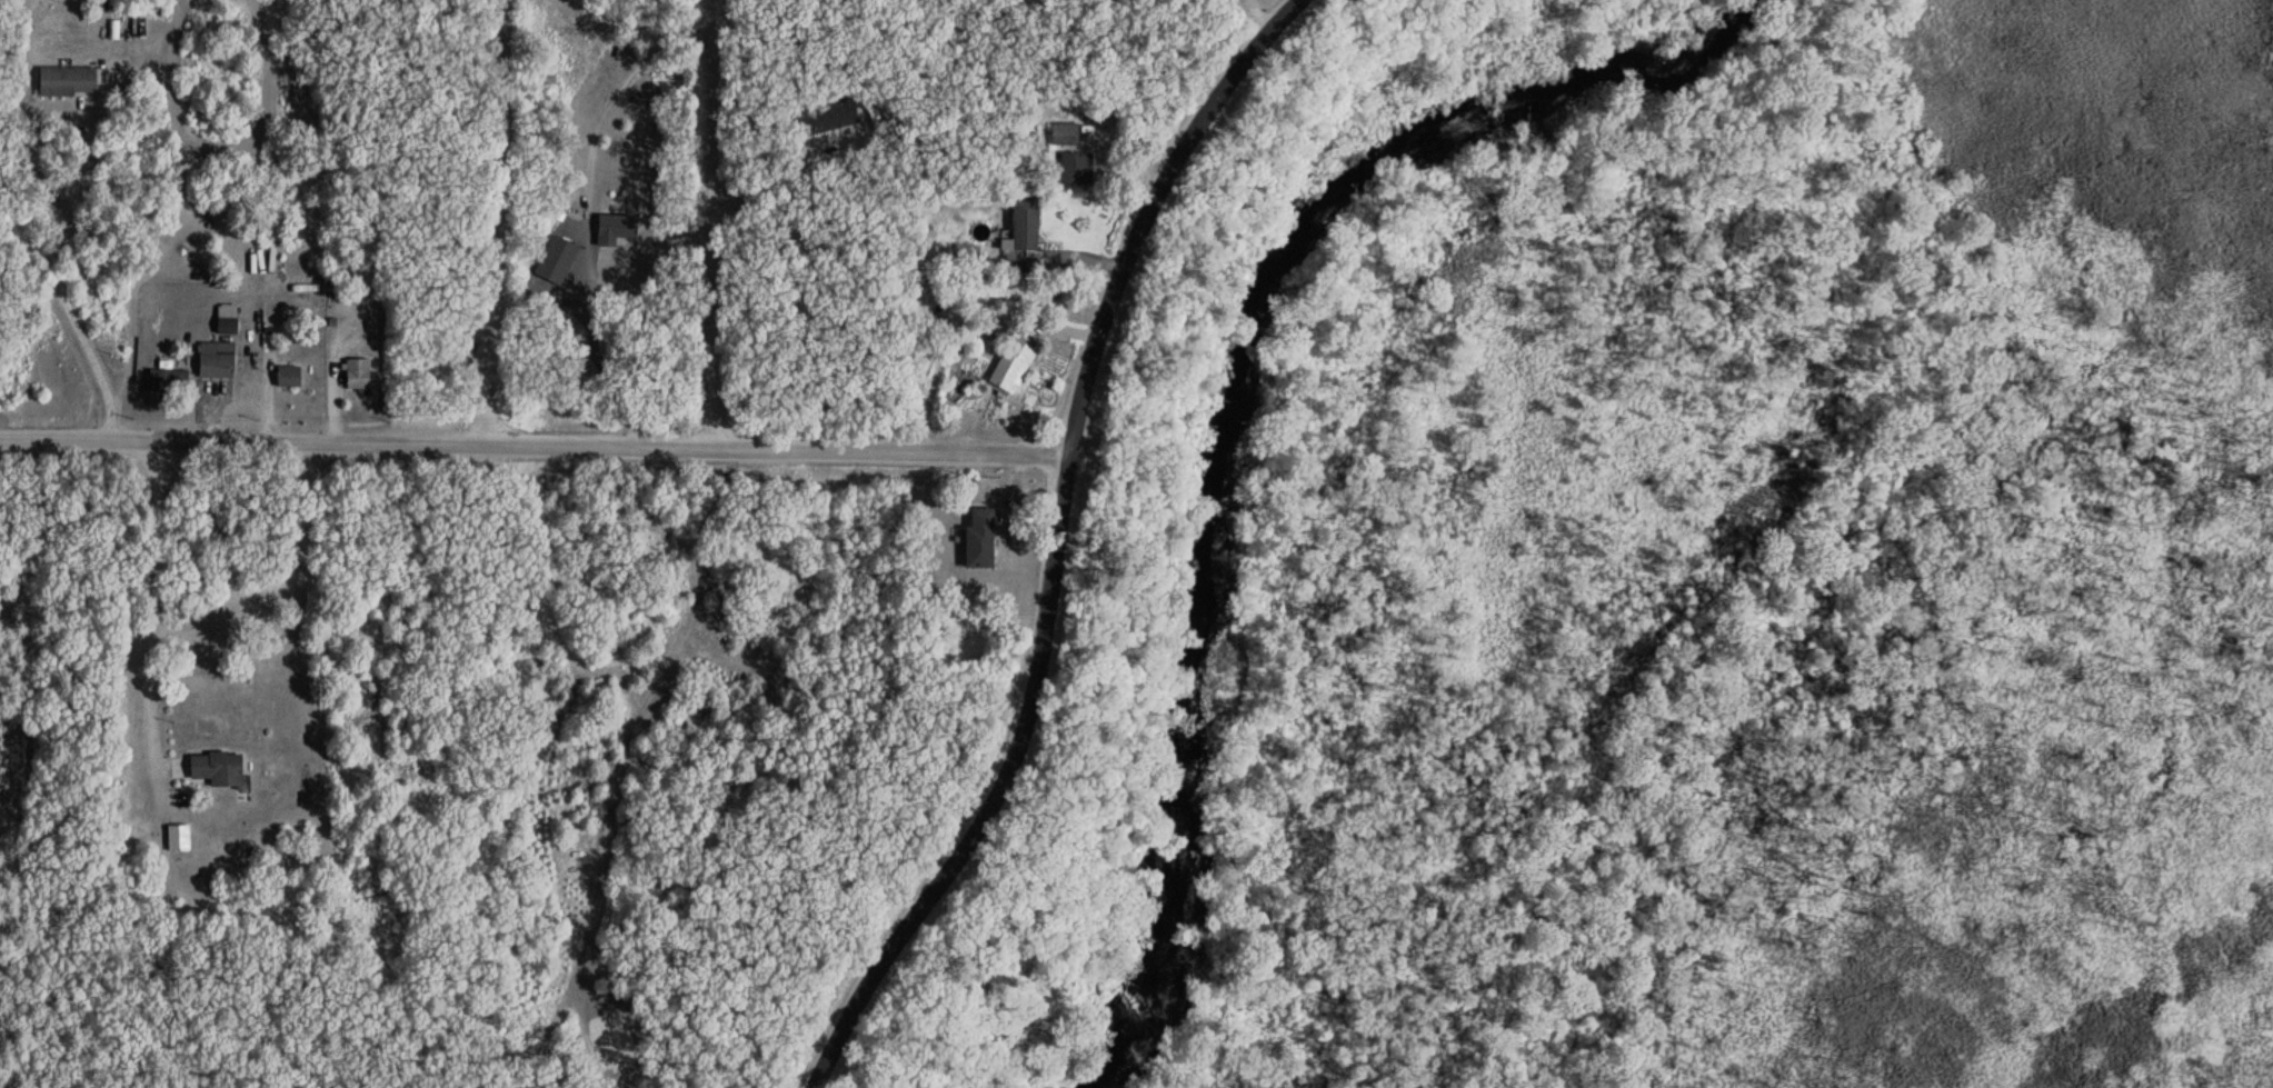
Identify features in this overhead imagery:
building: (70, 80)
building: (871, 96)
building: (830, 118)
building: (1066, 133)
building: (1078, 168)
road: (782, 176)
road: (494, 222)
road: (709, 223)
building: (1028, 223)
building: (620, 224)
road: (61, 281)
building: (575, 309)
building: (229, 319)
road: (594, 353)
building: (219, 360)
building: (1016, 362)
building: (359, 375)
building: (291, 377)
building: (171, 381)
road: (531, 446)
building: (984, 539)
road: (1049, 551)
road: (152, 603)
building: (220, 768)
building: (180, 837)

